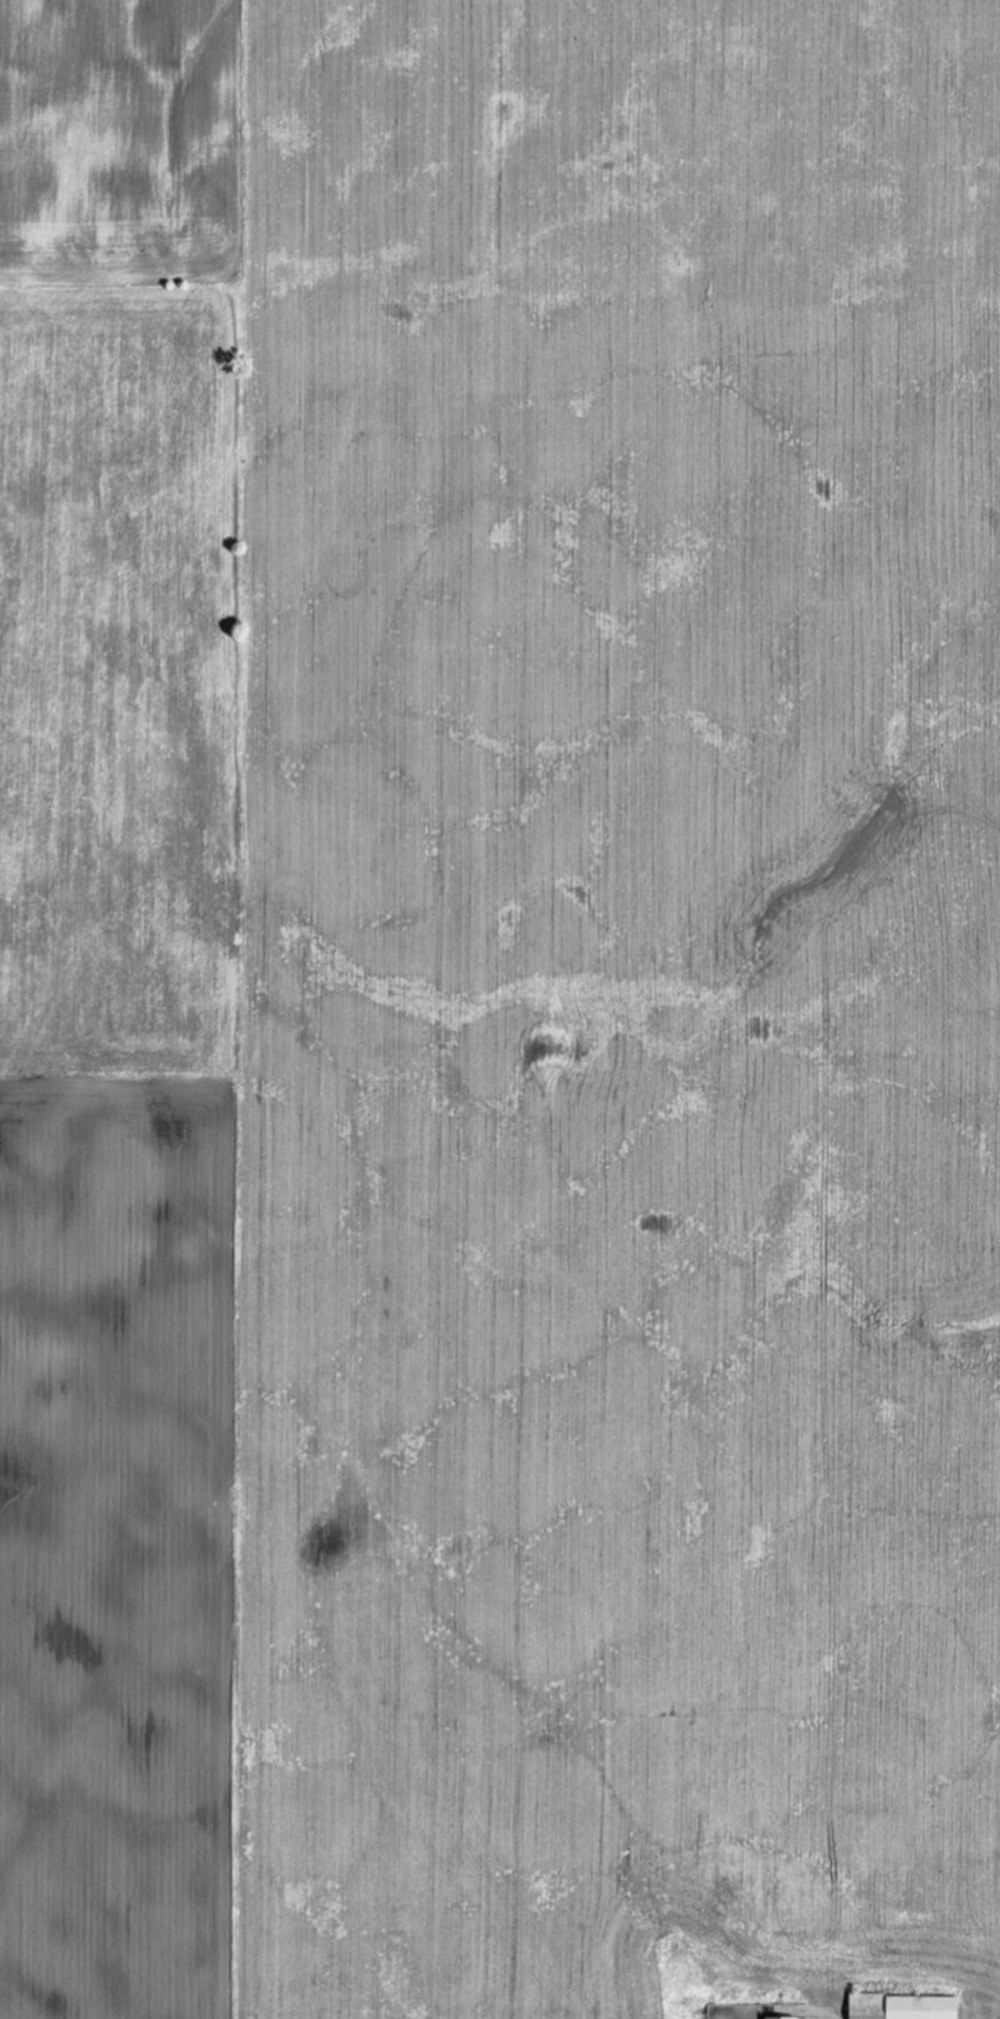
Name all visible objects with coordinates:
building: (901, 2006)
building: (779, 2017)

